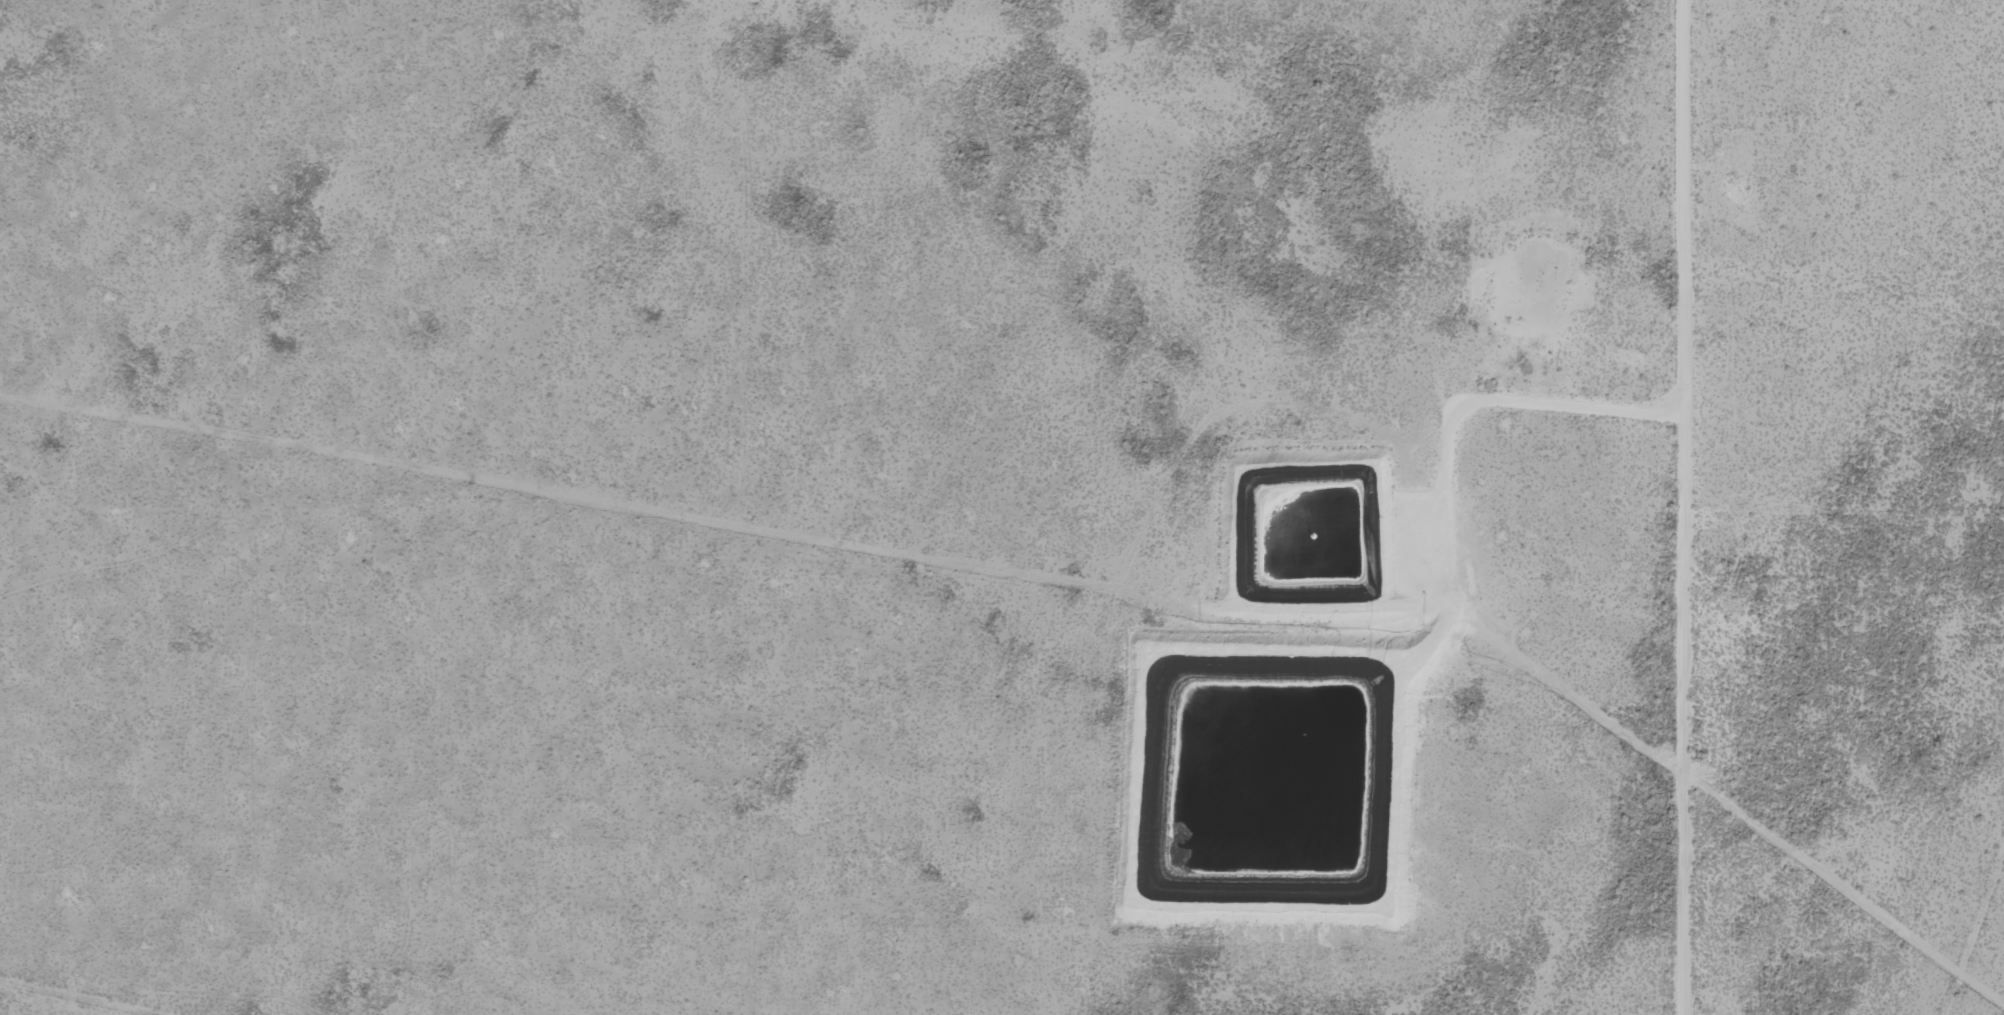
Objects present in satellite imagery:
road: (1643, 507)

